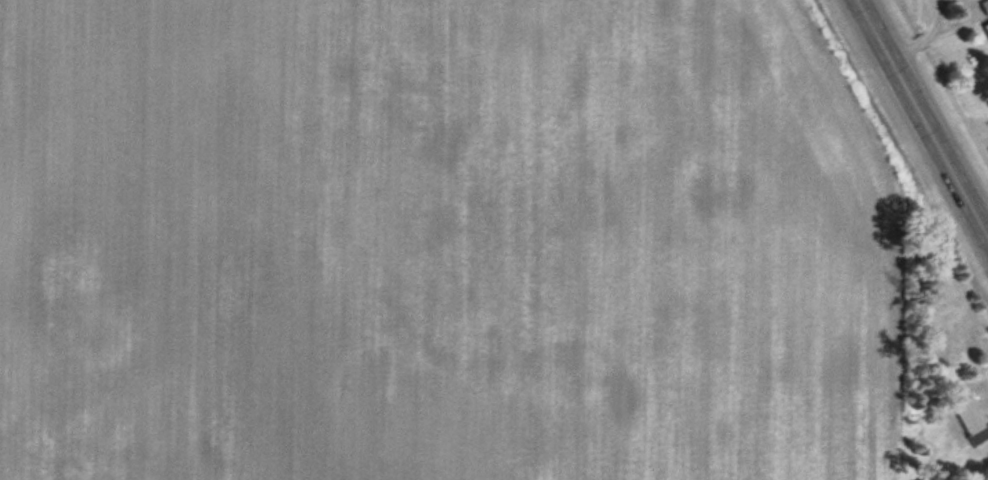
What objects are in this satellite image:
building: (984, 10)
road: (922, 120)
road: (980, 210)
building: (971, 422)

